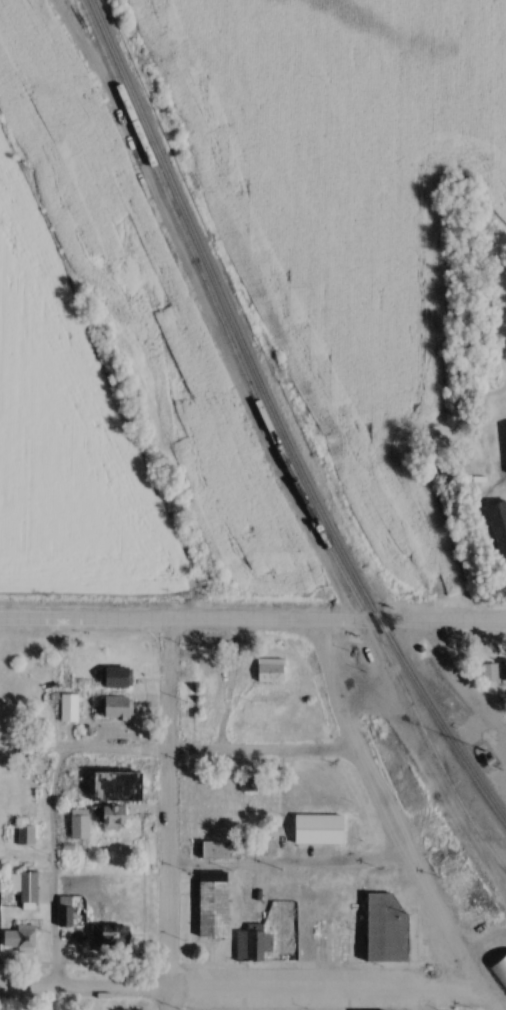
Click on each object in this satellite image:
railway: (266, 393)
building: (505, 428)
railway: (276, 443)
building: (504, 542)
road: (253, 623)
building: (216, 664)
building: (504, 671)
building: (274, 674)
building: (119, 678)
road: (454, 684)
building: (211, 701)
building: (119, 708)
road: (207, 749)
building: (125, 787)
railway: (488, 796)
road: (53, 805)
road: (166, 816)
building: (115, 817)
building: (215, 817)
road: (392, 822)
building: (82, 824)
building: (318, 826)
building: (28, 835)
road: (288, 866)
building: (27, 887)
building: (501, 905)
building: (215, 906)
building: (67, 911)
building: (388, 928)
building: (109, 937)
building: (22, 940)
building: (500, 970)
road: (236, 987)
road: (425, 997)

